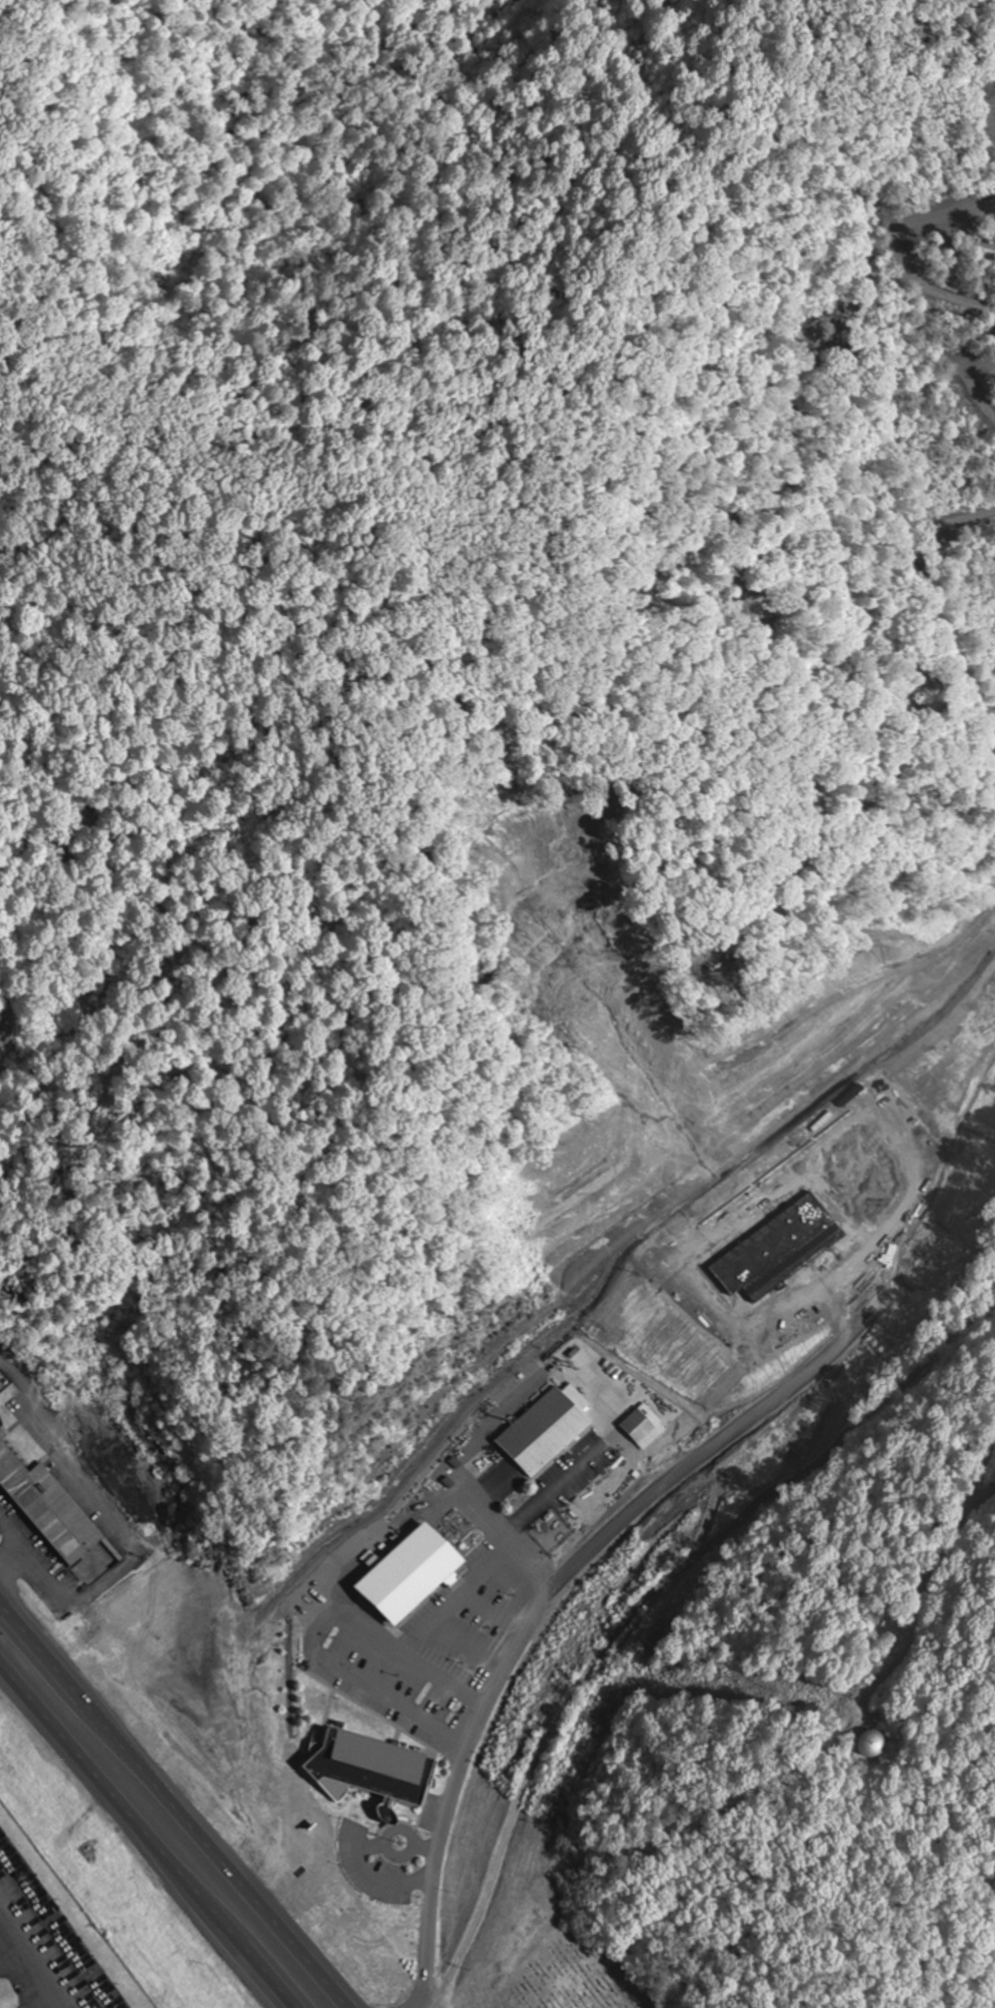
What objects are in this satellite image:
building: (550, 1433)
building: (48, 1506)
building: (416, 1578)
road: (489, 1704)
building: (868, 1744)
water tower: (869, 1749)
building: (372, 1772)
road: (175, 1802)
road: (146, 1837)
flagpole: (400, 1838)
park: (546, 1944)

